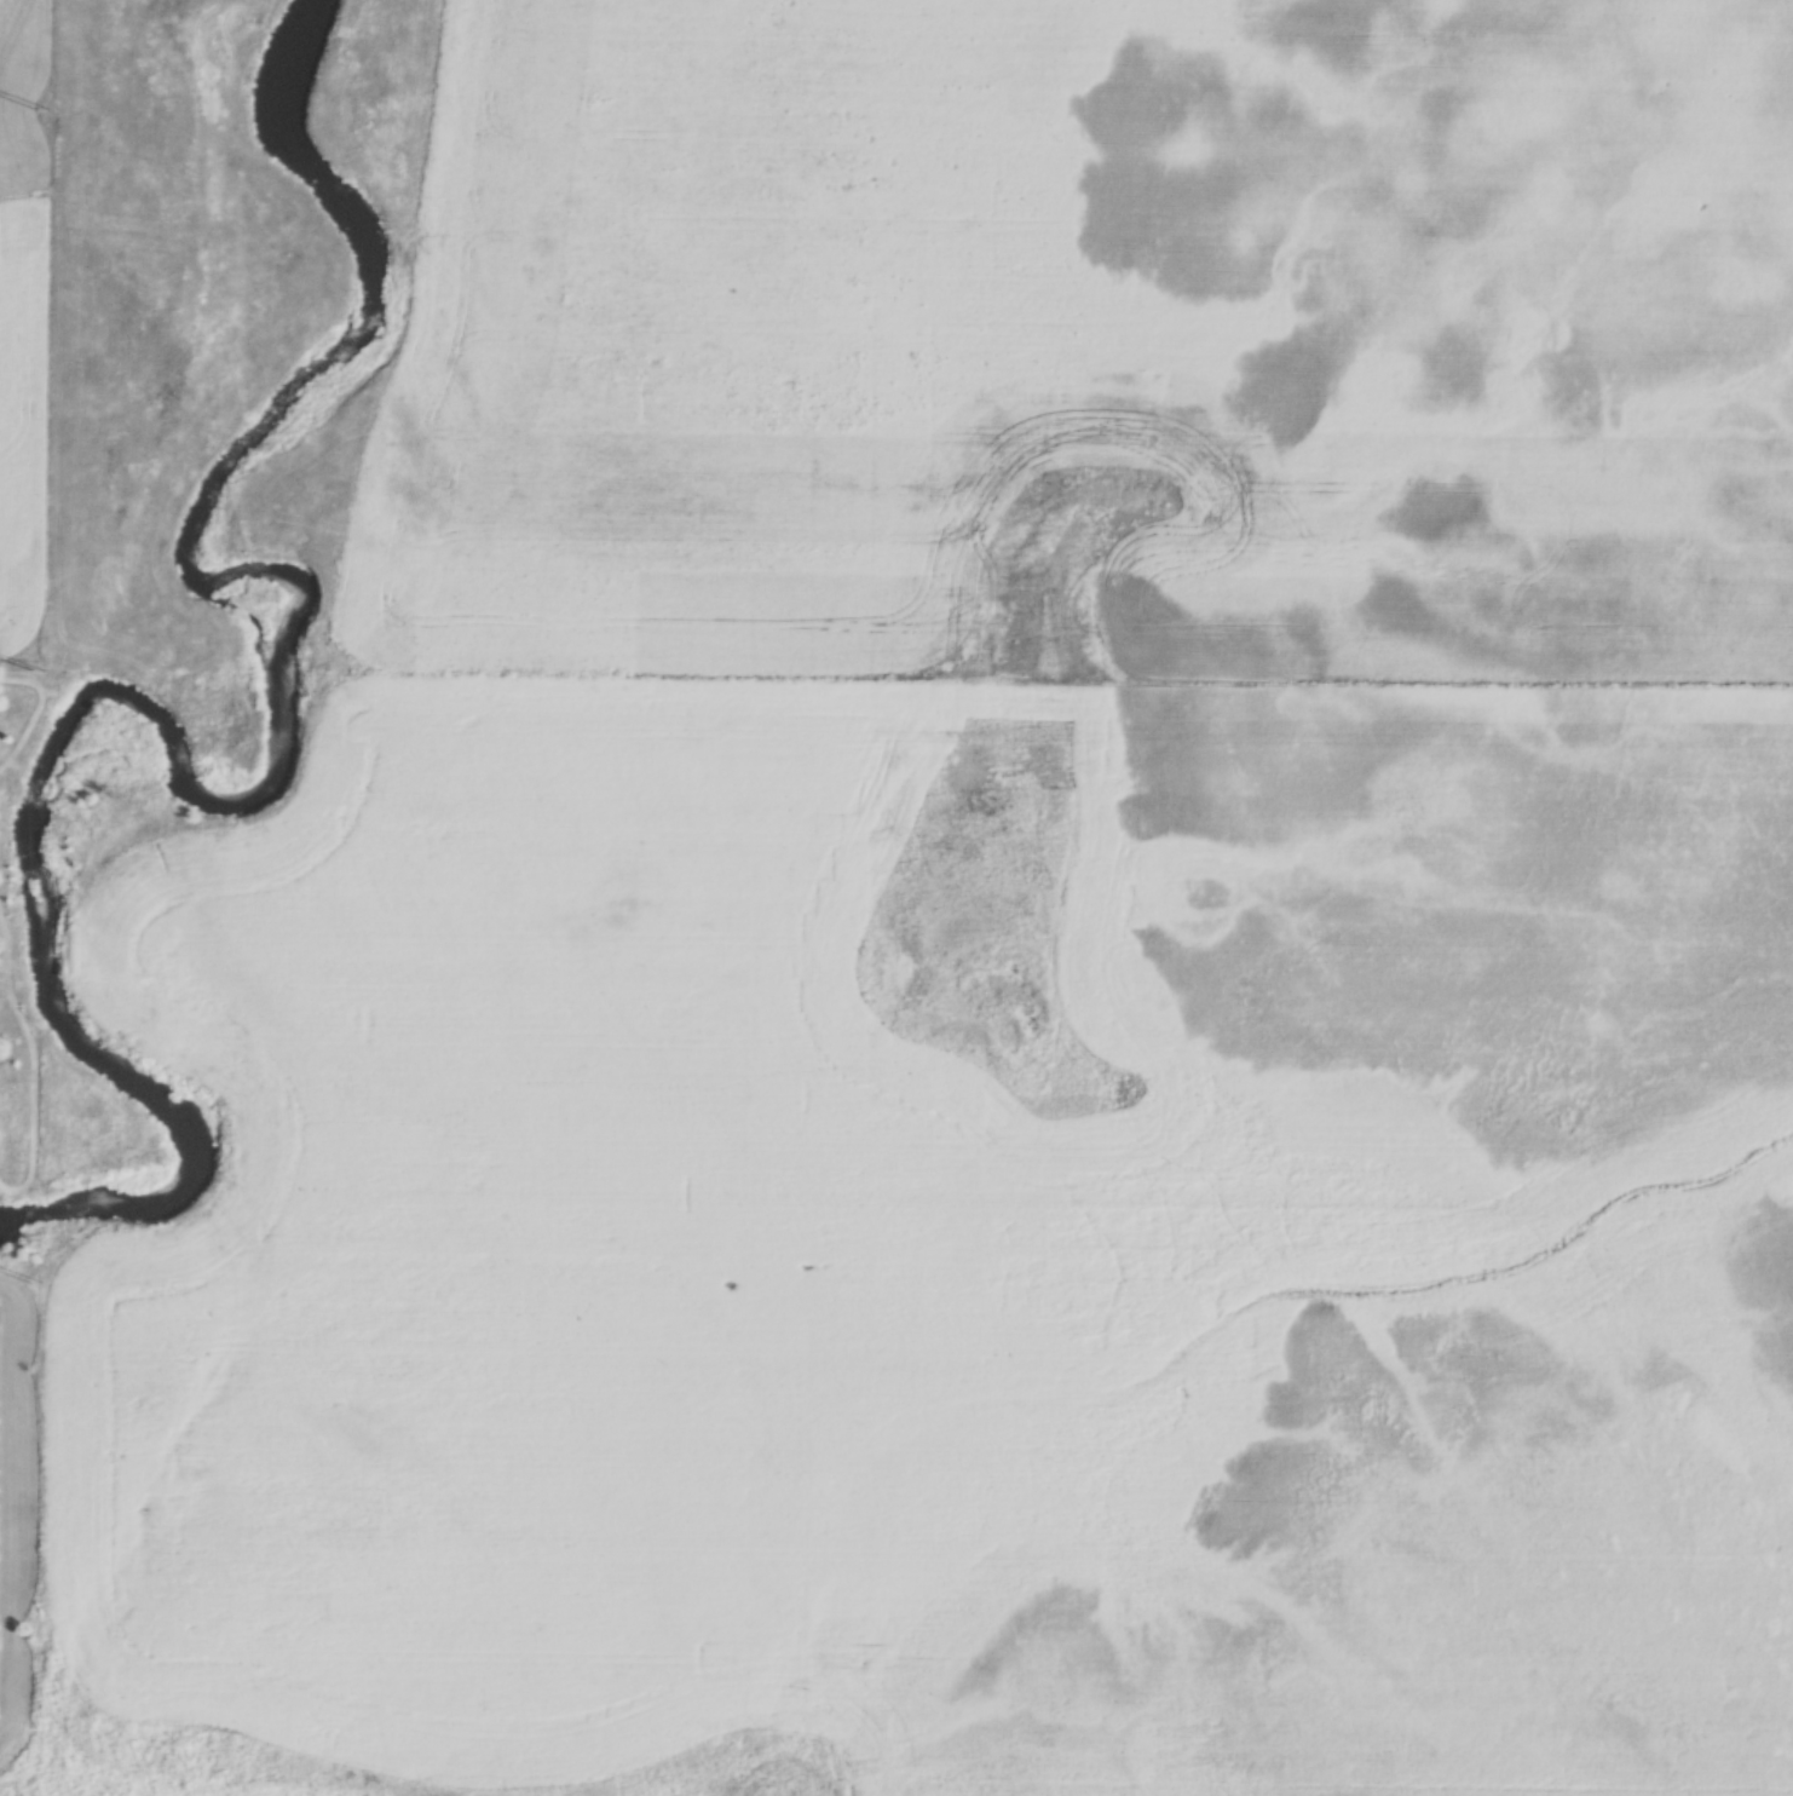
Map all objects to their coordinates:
power tower: (46, 111)
power tower: (41, 672)
power tower: (35, 1284)

